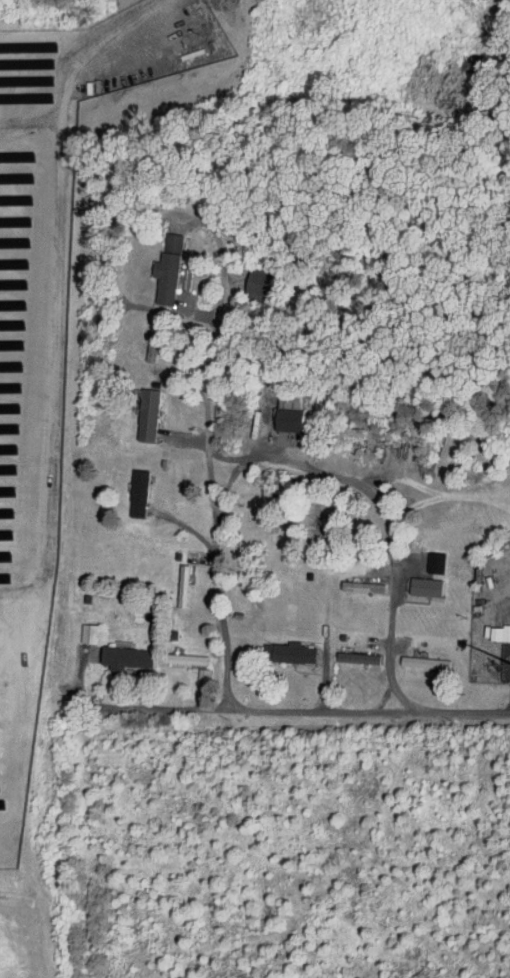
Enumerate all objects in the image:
road: (494, 24)
road: (75, 45)
building: (153, 262)
building: (243, 277)
building: (133, 408)
building: (273, 412)
building: (124, 486)
road: (206, 503)
road: (377, 507)
building: (421, 556)
building: (348, 580)
building: (411, 580)
building: (488, 626)
building: (75, 627)
building: (273, 646)
building: (111, 651)
building: (343, 651)
building: (172, 652)
building: (411, 656)
road: (300, 714)

